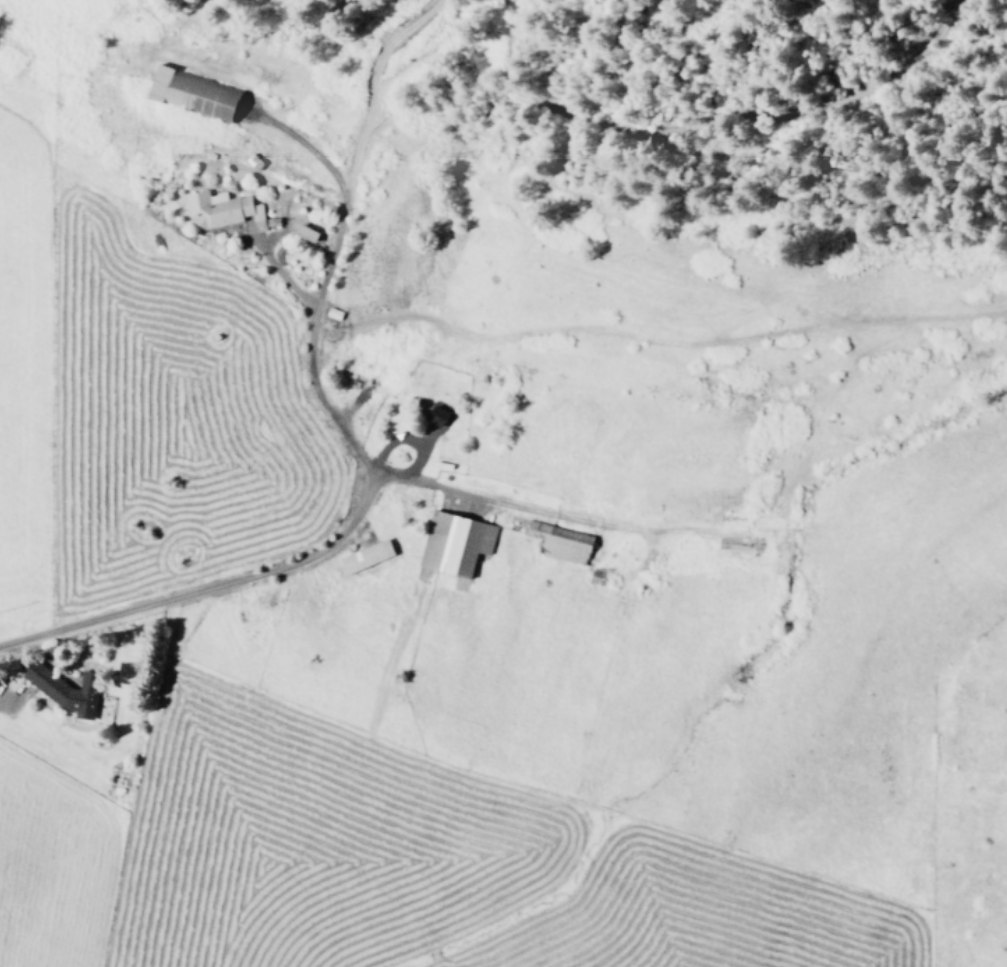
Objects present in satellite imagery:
building: (175, 89)
road: (303, 142)
building: (222, 209)
road: (335, 228)
road: (277, 269)
building: (335, 312)
building: (440, 415)
road: (407, 437)
road: (335, 539)
building: (457, 541)
building: (370, 555)
building: (68, 689)
road: (9, 697)

